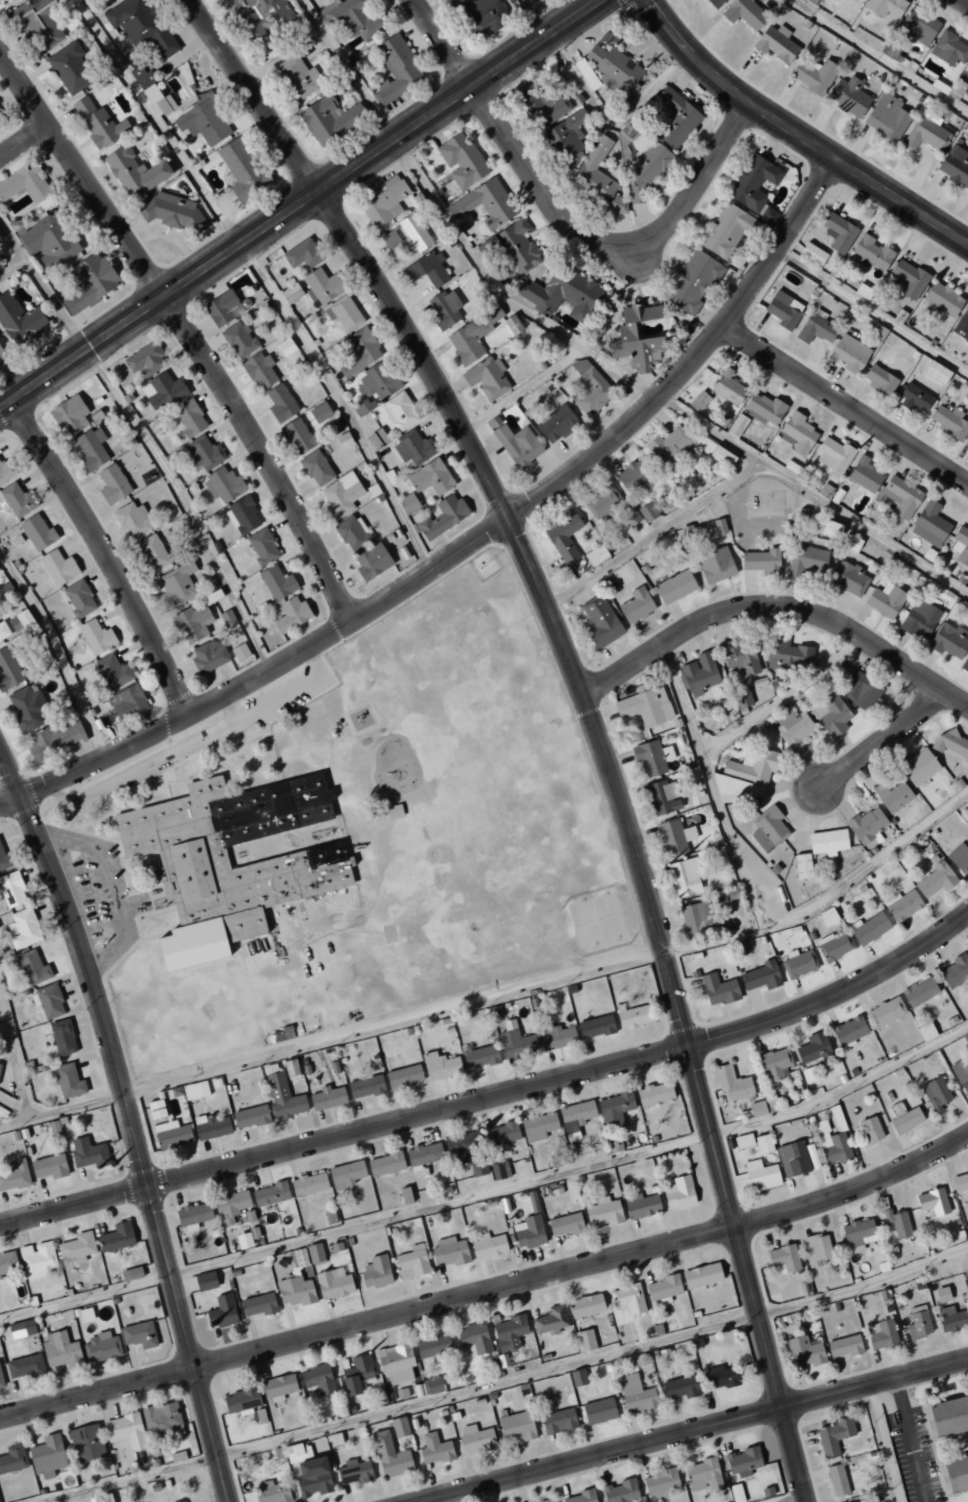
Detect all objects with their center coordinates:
road: (964, 1)
building: (715, 3)
building: (885, 7)
building: (274, 10)
building: (744, 13)
building: (481, 16)
road: (537, 17)
building: (360, 18)
building: (250, 22)
building: (38, 25)
building: (140, 26)
road: (667, 27)
building: (917, 27)
road: (442, 43)
building: (775, 43)
building: (949, 49)
building: (967, 64)
building: (613, 67)
building: (71, 68)
building: (395, 68)
building: (586, 74)
building: (813, 75)
building: (141, 76)
building: (298, 77)
building: (956, 89)
building: (848, 95)
building: (155, 100)
building: (169, 102)
building: (544, 106)
building: (676, 116)
building: (887, 117)
building: (329, 119)
building: (203, 121)
building: (99, 122)
building: (0, 124)
building: (568, 131)
building: (924, 135)
road: (23, 141)
road: (824, 154)
building: (461, 160)
building: (955, 165)
building: (649, 166)
building: (241, 169)
building: (134, 171)
building: (597, 171)
building: (754, 183)
building: (24, 184)
building: (384, 202)
road: (299, 203)
building: (485, 203)
building: (172, 211)
building: (726, 231)
building: (838, 232)
building: (406, 234)
road: (606, 241)
building: (47, 242)
building: (515, 245)
building: (871, 252)
building: (303, 254)
building: (812, 254)
building: (427, 269)
building: (909, 278)
building: (87, 282)
building: (692, 282)
building: (322, 285)
building: (290, 293)
building: (561, 293)
building: (942, 300)
building: (221, 308)
building: (444, 309)
building: (783, 310)
building: (345, 313)
building: (19, 320)
building: (512, 324)
building: (962, 324)
building: (816, 327)
road: (186, 331)
building: (472, 336)
building: (638, 337)
building: (239, 339)
building: (285, 346)
building: (359, 352)
building: (0, 353)
building: (849, 353)
building: (144, 360)
building: (259, 371)
building: (936, 372)
building: (488, 378)
building: (879, 379)
building: (379, 380)
building: (728, 387)
building: (545, 388)
building: (589, 388)
building: (162, 391)
building: (913, 397)
building: (699, 401)
building: (280, 403)
building: (363, 403)
road: (846, 403)
building: (764, 409)
building: (400, 411)
building: (320, 412)
building: (69, 415)
building: (188, 417)
building: (507, 419)
building: (949, 422)
building: (556, 423)
building: (737, 425)
building: (798, 433)
building: (297, 436)
building: (343, 440)
building: (376, 440)
building: (517, 444)
building: (966, 444)
building: (669, 446)
building: (91, 448)
building: (413, 448)
building: (204, 454)
building: (833, 455)
building: (720, 456)
building: (316, 468)
building: (5, 471)
building: (863, 474)
building: (631, 476)
building: (430, 478)
building: (112, 484)
building: (223, 484)
building: (341, 495)
building: (900, 496)
building: (17, 500)
building: (408, 503)
building: (602, 503)
building: (648, 511)
building: (242, 515)
building: (442, 517)
building: (132, 520)
building: (929, 524)
building: (719, 526)
building: (831, 529)
building: (37, 533)
building: (352, 533)
building: (687, 533)
building: (564, 539)
building: (851, 543)
road: (467, 544)
building: (960, 545)
building: (262, 546)
building: (152, 553)
road: (104, 555)
building: (595, 555)
building: (806, 560)
building: (371, 562)
building: (762, 562)
building: (715, 565)
building: (58, 567)
building: (849, 579)
building: (275, 583)
building: (674, 587)
building: (79, 598)
building: (885, 600)
building: (636, 605)
road: (777, 608)
building: (290, 614)
building: (227, 618)
building: (920, 618)
building: (20, 621)
building: (600, 622)
building: (192, 623)
building: (4, 631)
building: (96, 637)
building: (948, 641)
building: (240, 652)
building: (786, 654)
building: (208, 656)
building: (740, 657)
building: (964, 665)
building: (8, 670)
building: (113, 671)
building: (697, 675)
building: (862, 693)
road: (782, 697)
building: (127, 702)
building: (28, 707)
building: (645, 707)
road: (589, 711)
building: (831, 715)
building: (793, 726)
building: (54, 739)
road: (883, 739)
building: (951, 744)
building: (652, 757)
building: (918, 767)
building: (746, 775)
road: (712, 786)
building: (892, 796)
building: (662, 798)
building: (394, 811)
building: (867, 824)
building: (768, 829)
building: (674, 838)
building: (828, 842)
building: (710, 857)
building: (959, 858)
building: (5, 860)
building: (802, 866)
building: (252, 877)
building: (685, 877)
building: (935, 880)
building: (12, 889)
road: (828, 897)
building: (902, 905)
building: (311, 910)
building: (828, 916)
building: (280, 918)
building: (698, 918)
building: (23, 928)
building: (870, 928)
building: (287, 944)
building: (833, 946)
building: (798, 963)
building: (32, 968)
building: (954, 972)
building: (760, 976)
building: (718, 989)
building: (919, 992)
building: (48, 1001)
building: (885, 1012)
building: (634, 1016)
road: (393, 1020)
building: (596, 1027)
building: (849, 1032)
building: (926, 1032)
building: (62, 1037)
building: (556, 1037)
building: (515, 1041)
building: (813, 1048)
building: (480, 1057)
road: (13, 1058)
building: (775, 1063)
building: (440, 1066)
building: (290, 1068)
building: (810, 1074)
building: (961, 1075)
building: (403, 1077)
building: (68, 1080)
building: (732, 1084)
building: (365, 1087)
building: (195, 1090)
road: (843, 1090)
building: (654, 1093)
road: (495, 1094)
building: (935, 1094)
building: (283, 1097)
building: (328, 1098)
building: (764, 1106)
road: (62, 1109)
building: (155, 1110)
building: (614, 1110)
building: (576, 1115)
building: (250, 1117)
building: (627, 1118)
building: (903, 1118)
road: (132, 1125)
building: (52, 1126)
building: (538, 1126)
building: (211, 1127)
building: (871, 1129)
building: (171, 1134)
building: (500, 1136)
building: (832, 1140)
building: (743, 1141)
building: (763, 1144)
building: (467, 1151)
building: (87, 1152)
building: (423, 1155)
building: (793, 1158)
building: (385, 1163)
building: (50, 1166)
building: (497, 1170)
building: (346, 1174)
building: (761, 1175)
building: (15, 1176)
building: (959, 1182)
building: (309, 1184)
building: (679, 1193)
building: (270, 1194)
building: (405, 1195)
building: (532, 1201)
building: (932, 1201)
building: (231, 1205)
road: (441, 1205)
building: (641, 1205)
building: (603, 1212)
building: (193, 1216)
building: (897, 1223)
building: (566, 1225)
building: (528, 1231)
building: (858, 1235)
building: (116, 1237)
building: (243, 1240)
building: (488, 1246)
building: (77, 1248)
building: (816, 1249)
building: (449, 1251)
building: (315, 1253)
building: (37, 1259)
building: (783, 1259)
building: (412, 1262)
building: (8, 1263)
building: (376, 1272)
building: (131, 1274)
building: (701, 1275)
building: (205, 1281)
building: (333, 1283)
road: (864, 1286)
building: (662, 1289)
road: (488, 1290)
building: (295, 1291)
building: (942, 1294)
building: (628, 1299)
building: (258, 1305)
building: (585, 1305)
building: (221, 1312)
building: (951, 1318)
building: (550, 1320)
building: (918, 1322)
building: (21, 1329)
building: (508, 1331)
building: (138, 1334)
building: (881, 1334)
building: (475, 1338)
building: (584, 1340)
building: (432, 1346)
building: (844, 1346)
building: (100, 1347)
building: (61, 1350)
building: (804, 1353)
building: (395, 1362)
building: (25, 1366)
building: (357, 1374)
building: (577, 1377)
building: (720, 1377)
building: (318, 1379)
building: (1, 1380)
building: (433, 1385)
road: (488, 1386)
building: (277, 1387)
building: (680, 1387)
building: (636, 1394)
building: (241, 1401)
building: (599, 1411)
building: (948, 1416)
building: (161, 1420)
building: (558, 1421)
building: (400, 1427)
building: (516, 1427)
building: (125, 1430)
road: (693, 1430)
building: (833, 1437)
building: (334, 1439)
building: (476, 1439)
road: (908, 1440)
building: (86, 1443)
building: (434, 1449)
building: (47, 1456)
building: (390, 1456)
building: (11, 1461)
building: (743, 1462)
building: (309, 1470)
building: (354, 1472)
building: (955, 1473)
building: (704, 1475)
building: (836, 1480)
building: (661, 1483)
building: (619, 1491)
building: (271, 1492)
building: (736, 1493)
building: (868, 1496)
building: (580, 1497)
building: (547, 1500)
building: (182, 1501)

